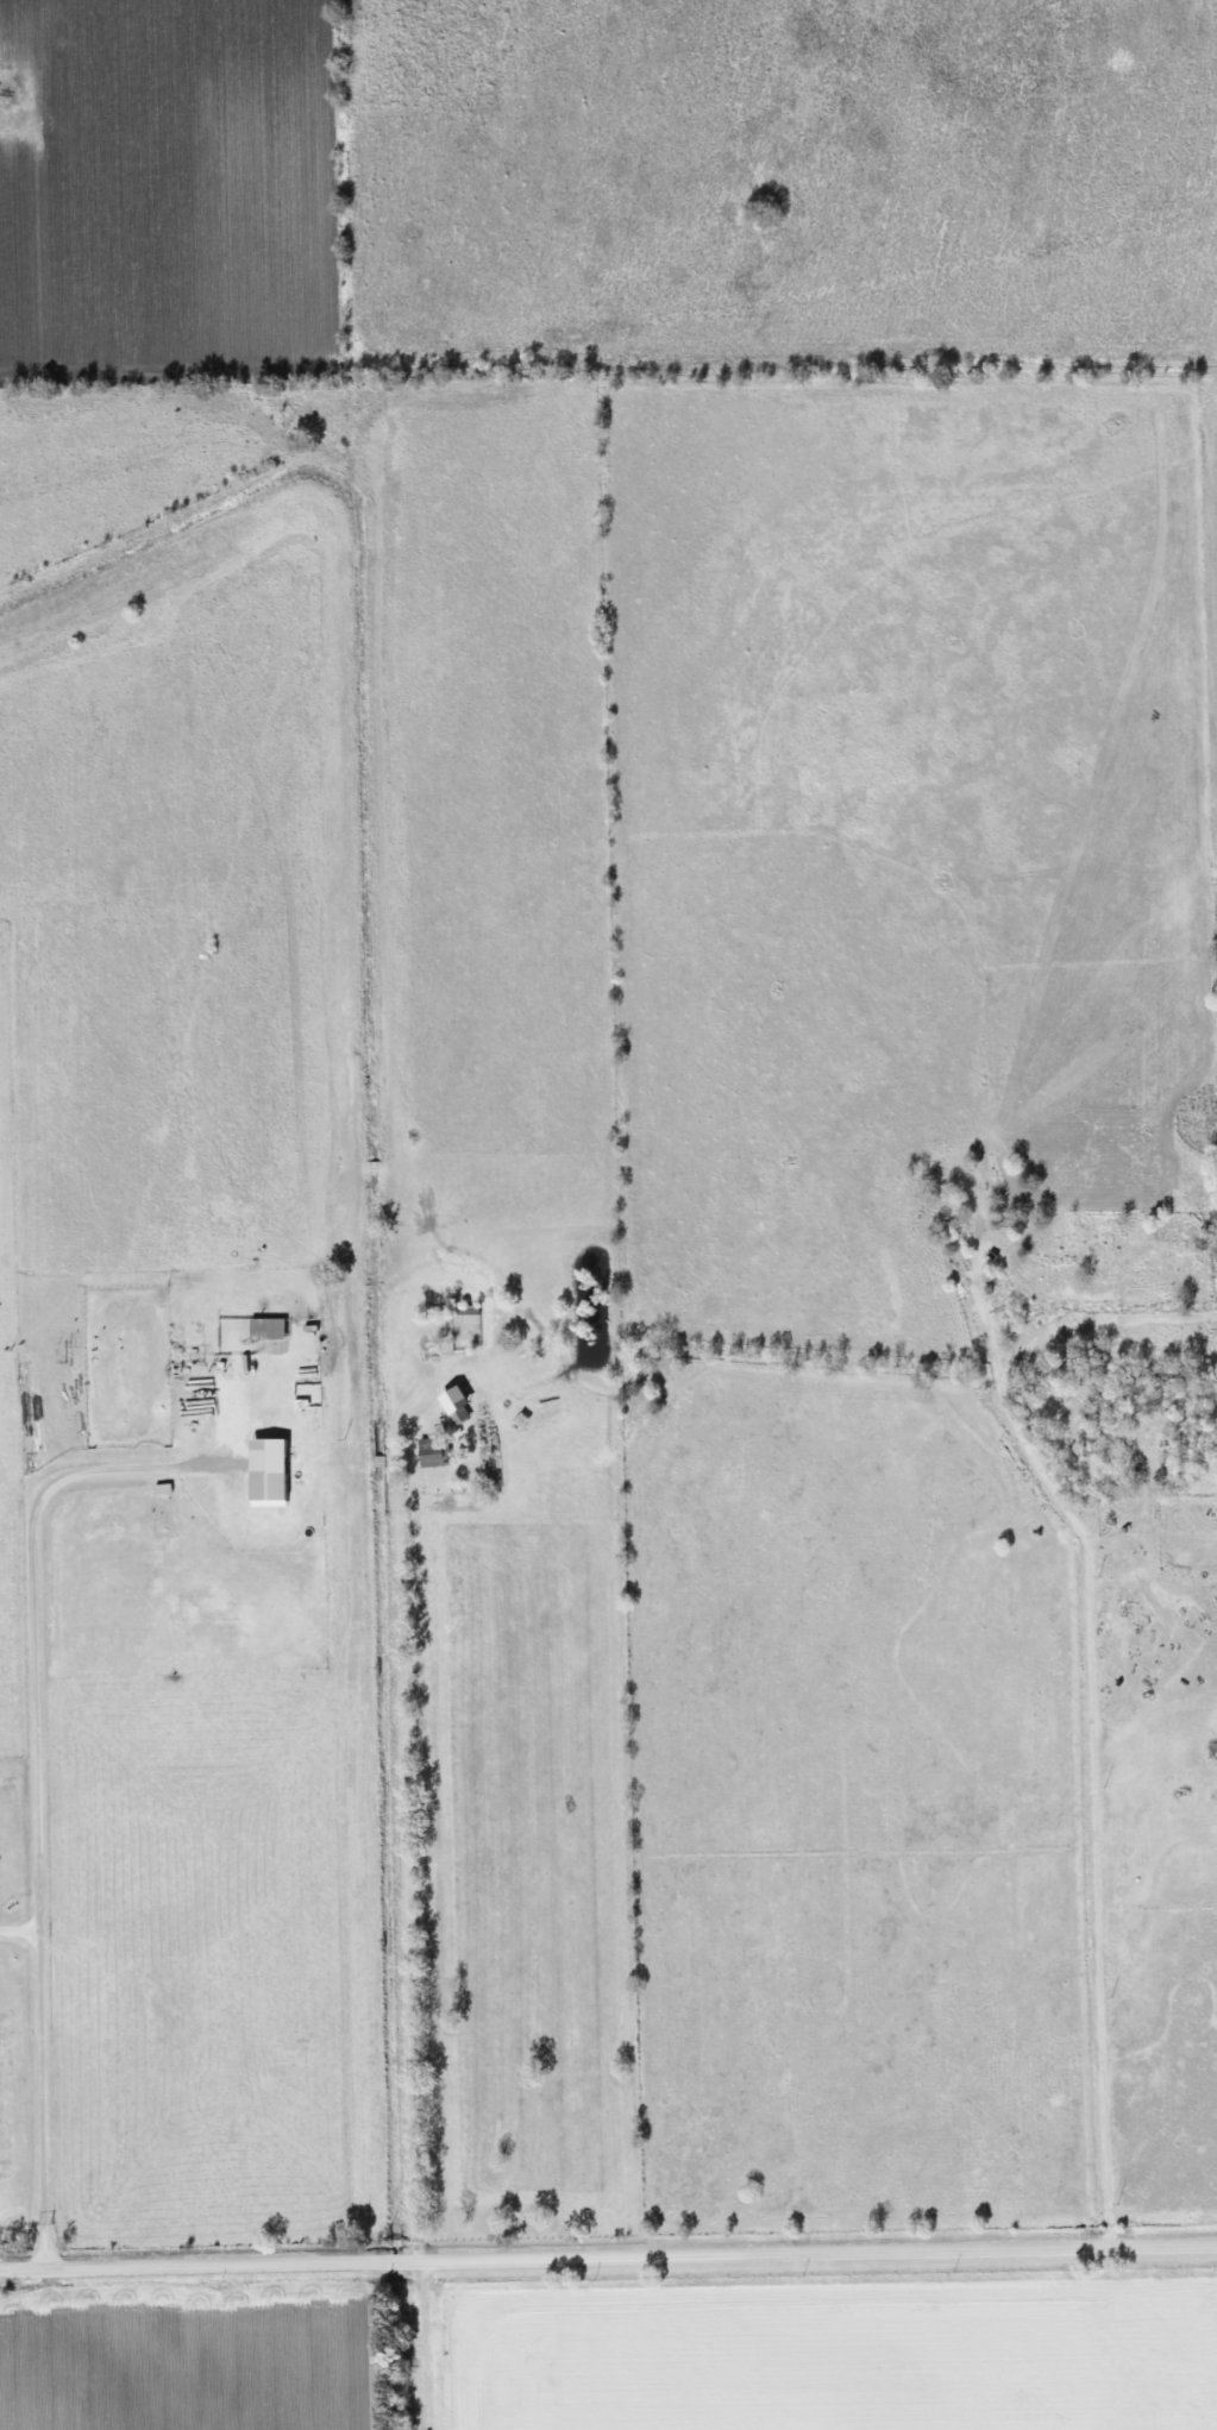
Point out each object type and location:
building: (424, 1453)
road: (33, 1778)
road: (404, 1876)
road: (608, 2259)

